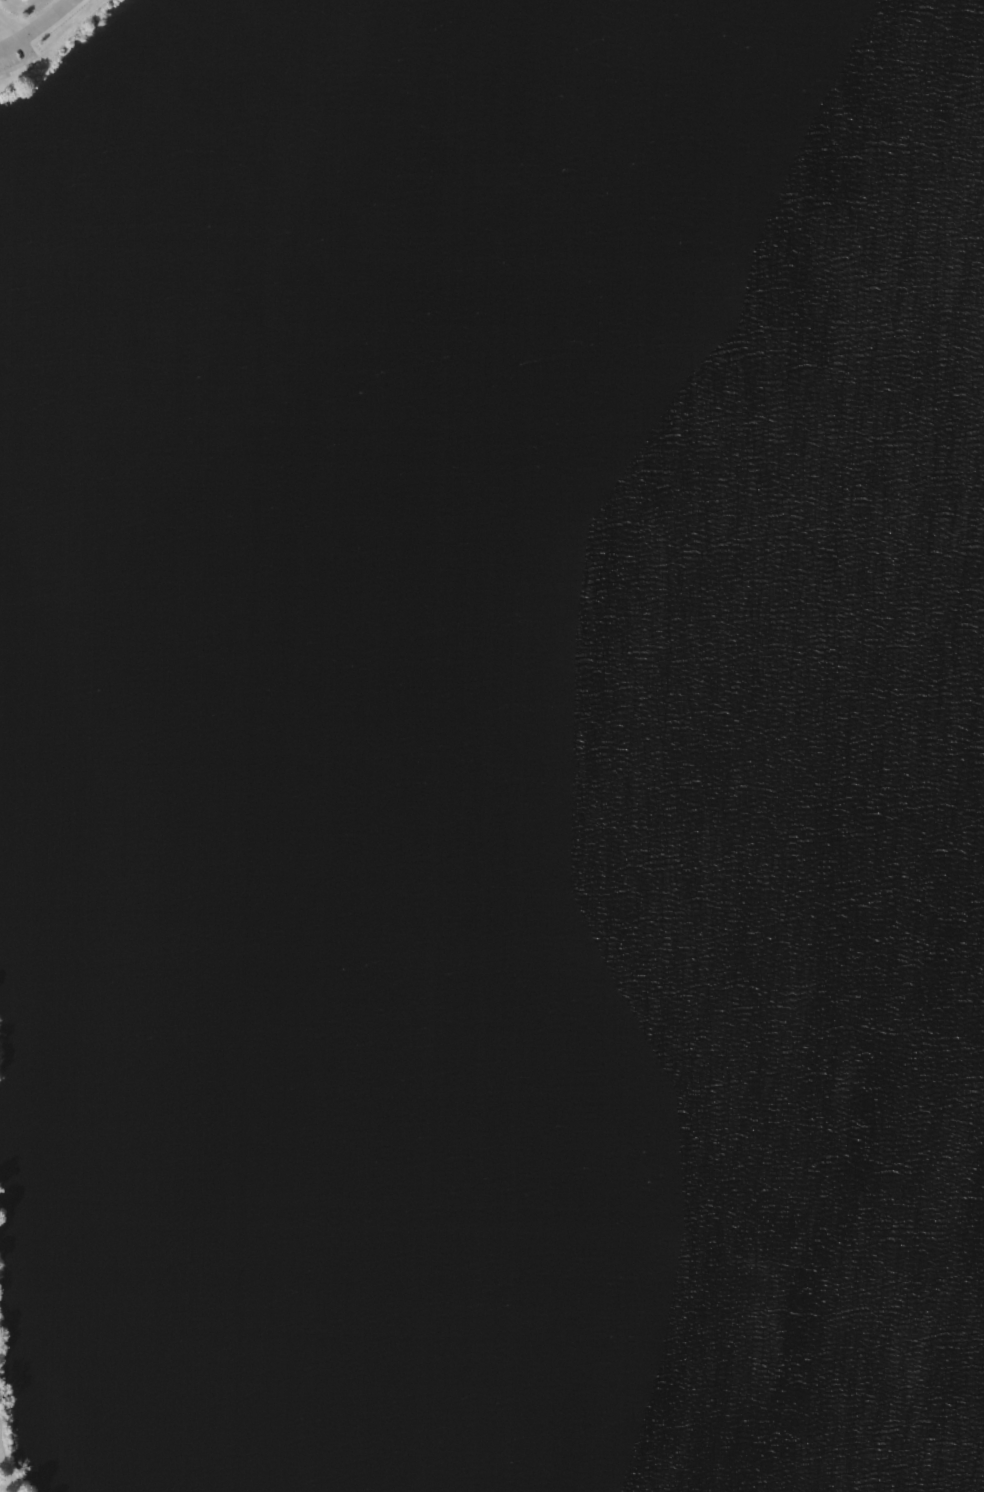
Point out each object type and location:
road: (36, 28)
parking lot: (12, 41)
park: (492, 746)

